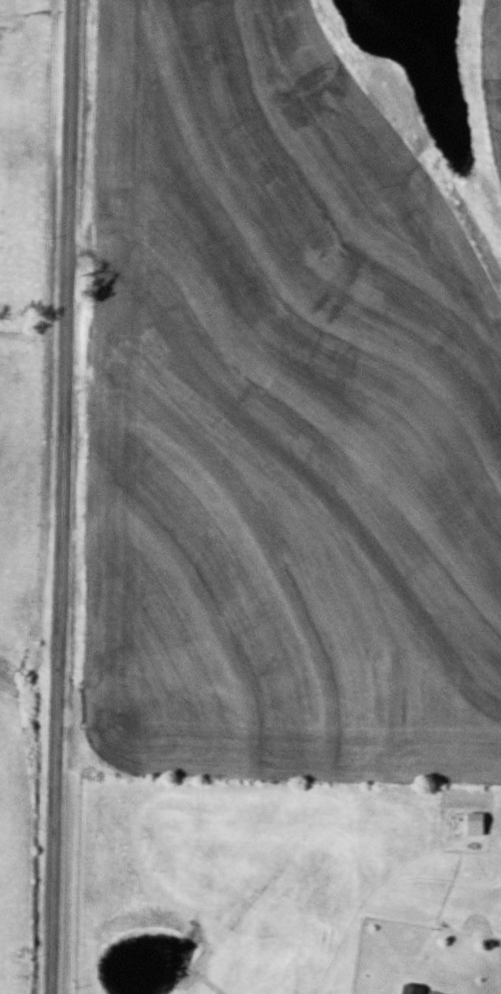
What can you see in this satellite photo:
road: (69, 497)
building: (415, 988)

